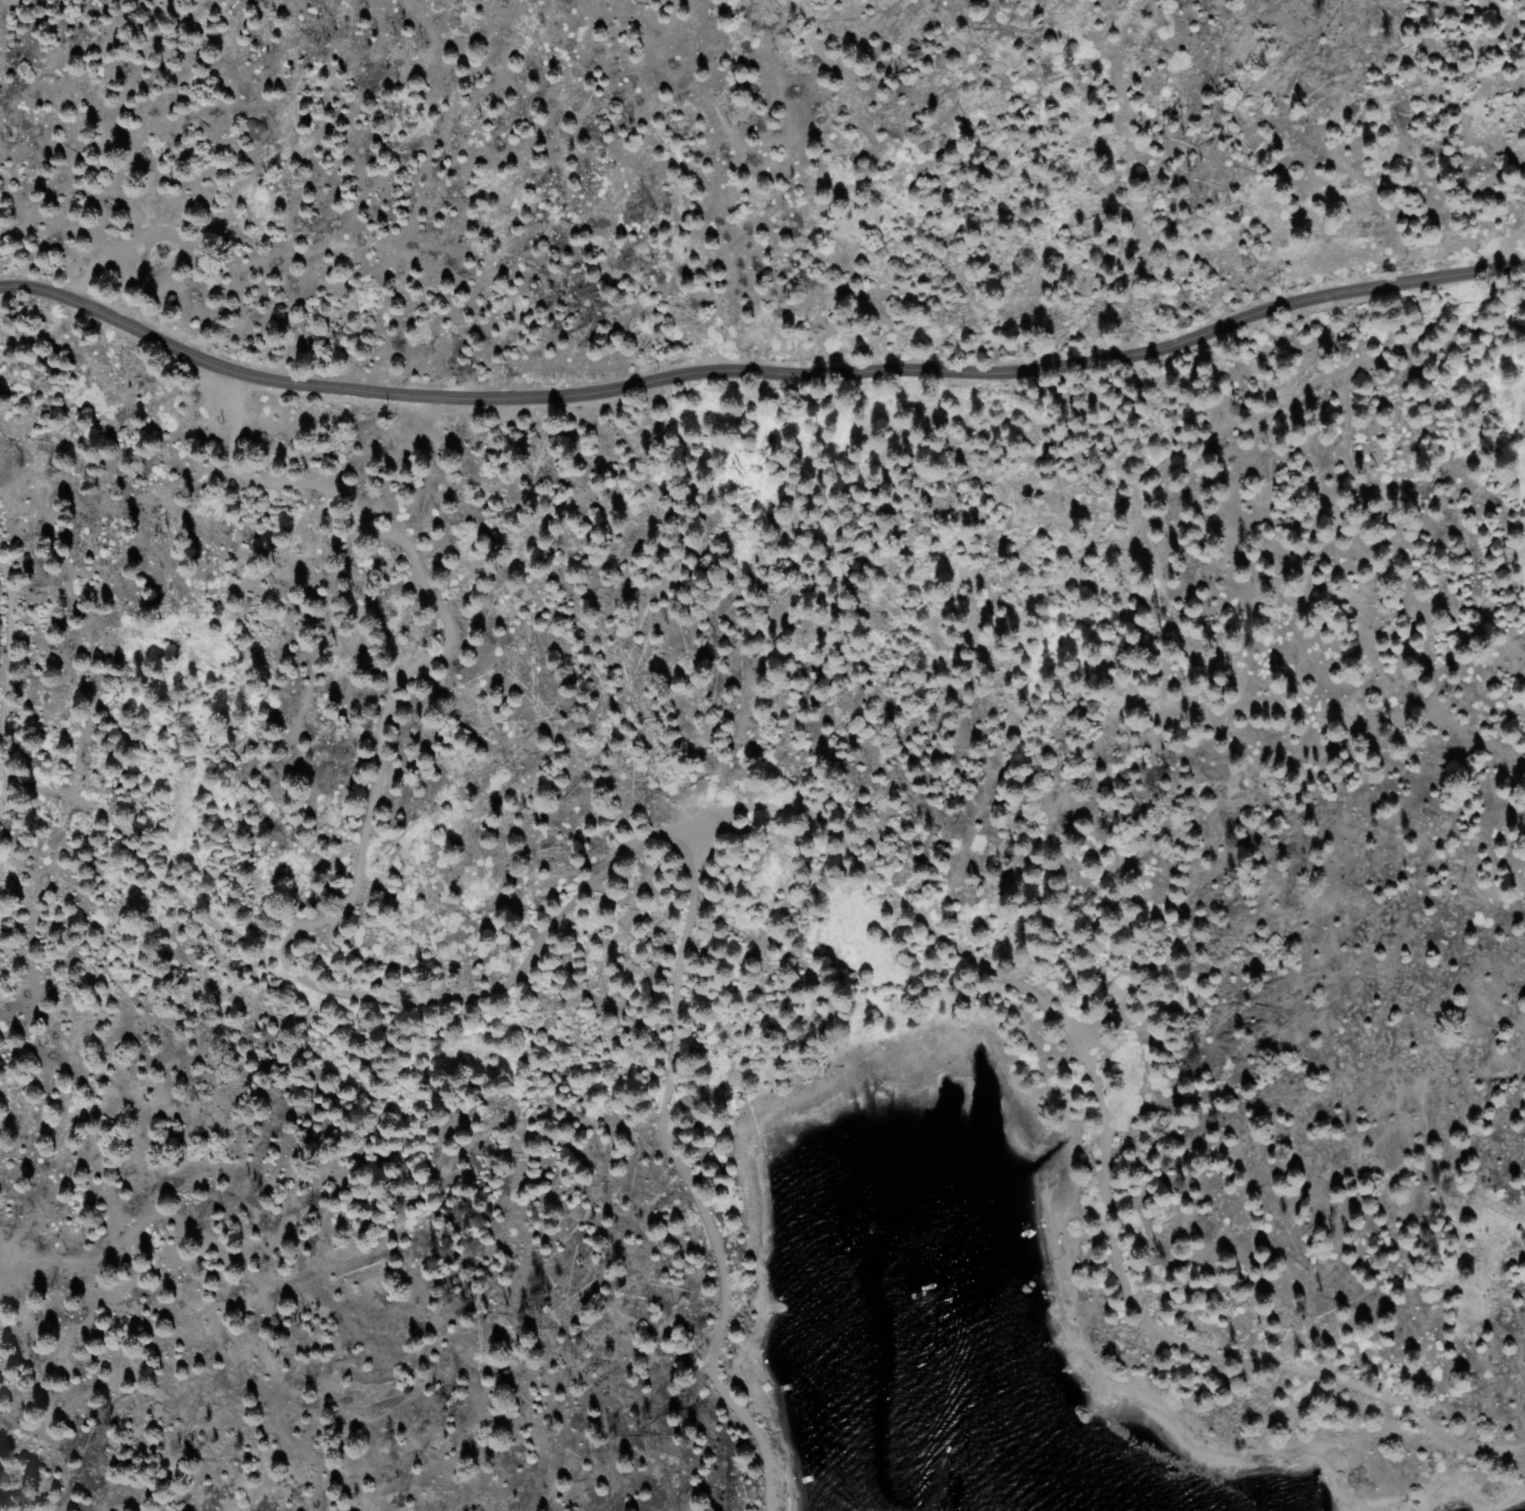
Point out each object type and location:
road: (757, 369)
road: (444, 637)
road: (4, 678)
road: (846, 851)
road: (671, 1176)
road: (249, 1283)

